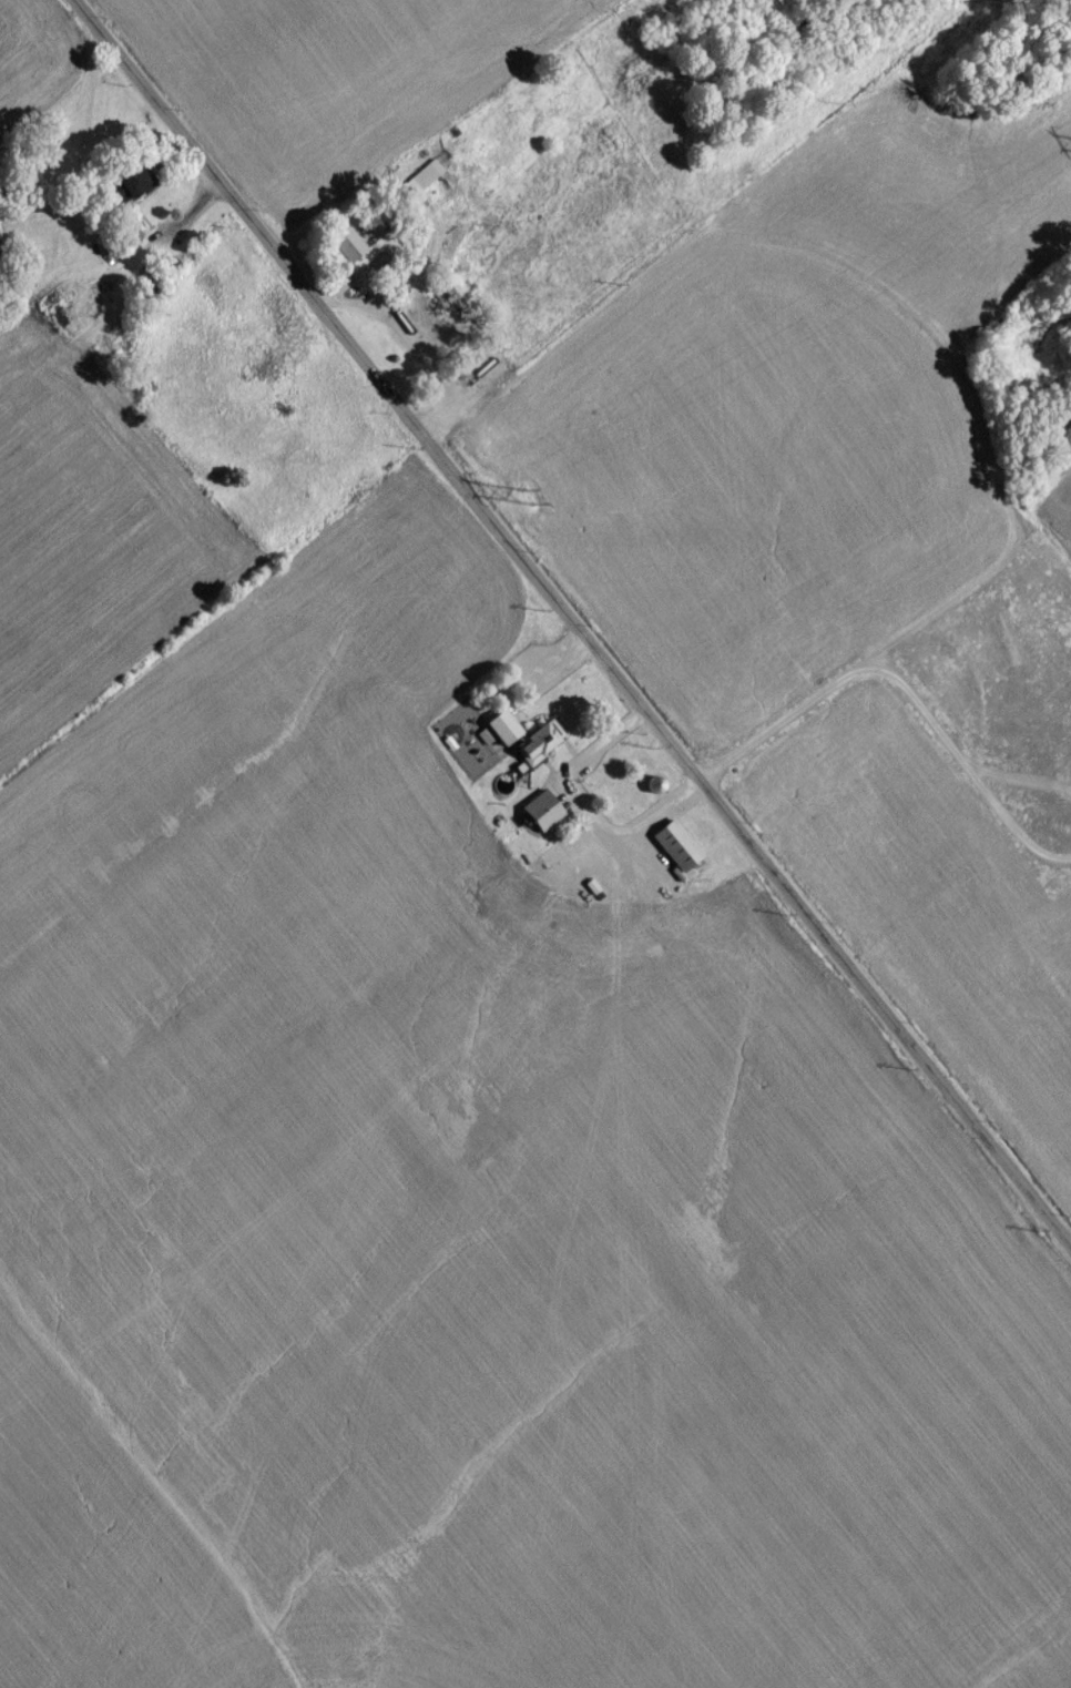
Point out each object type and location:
building: (421, 183)
building: (119, 192)
building: (343, 248)
power tower: (526, 504)
road: (572, 621)
road: (558, 654)
road: (905, 687)
building: (521, 742)
road: (586, 816)
building: (673, 852)

